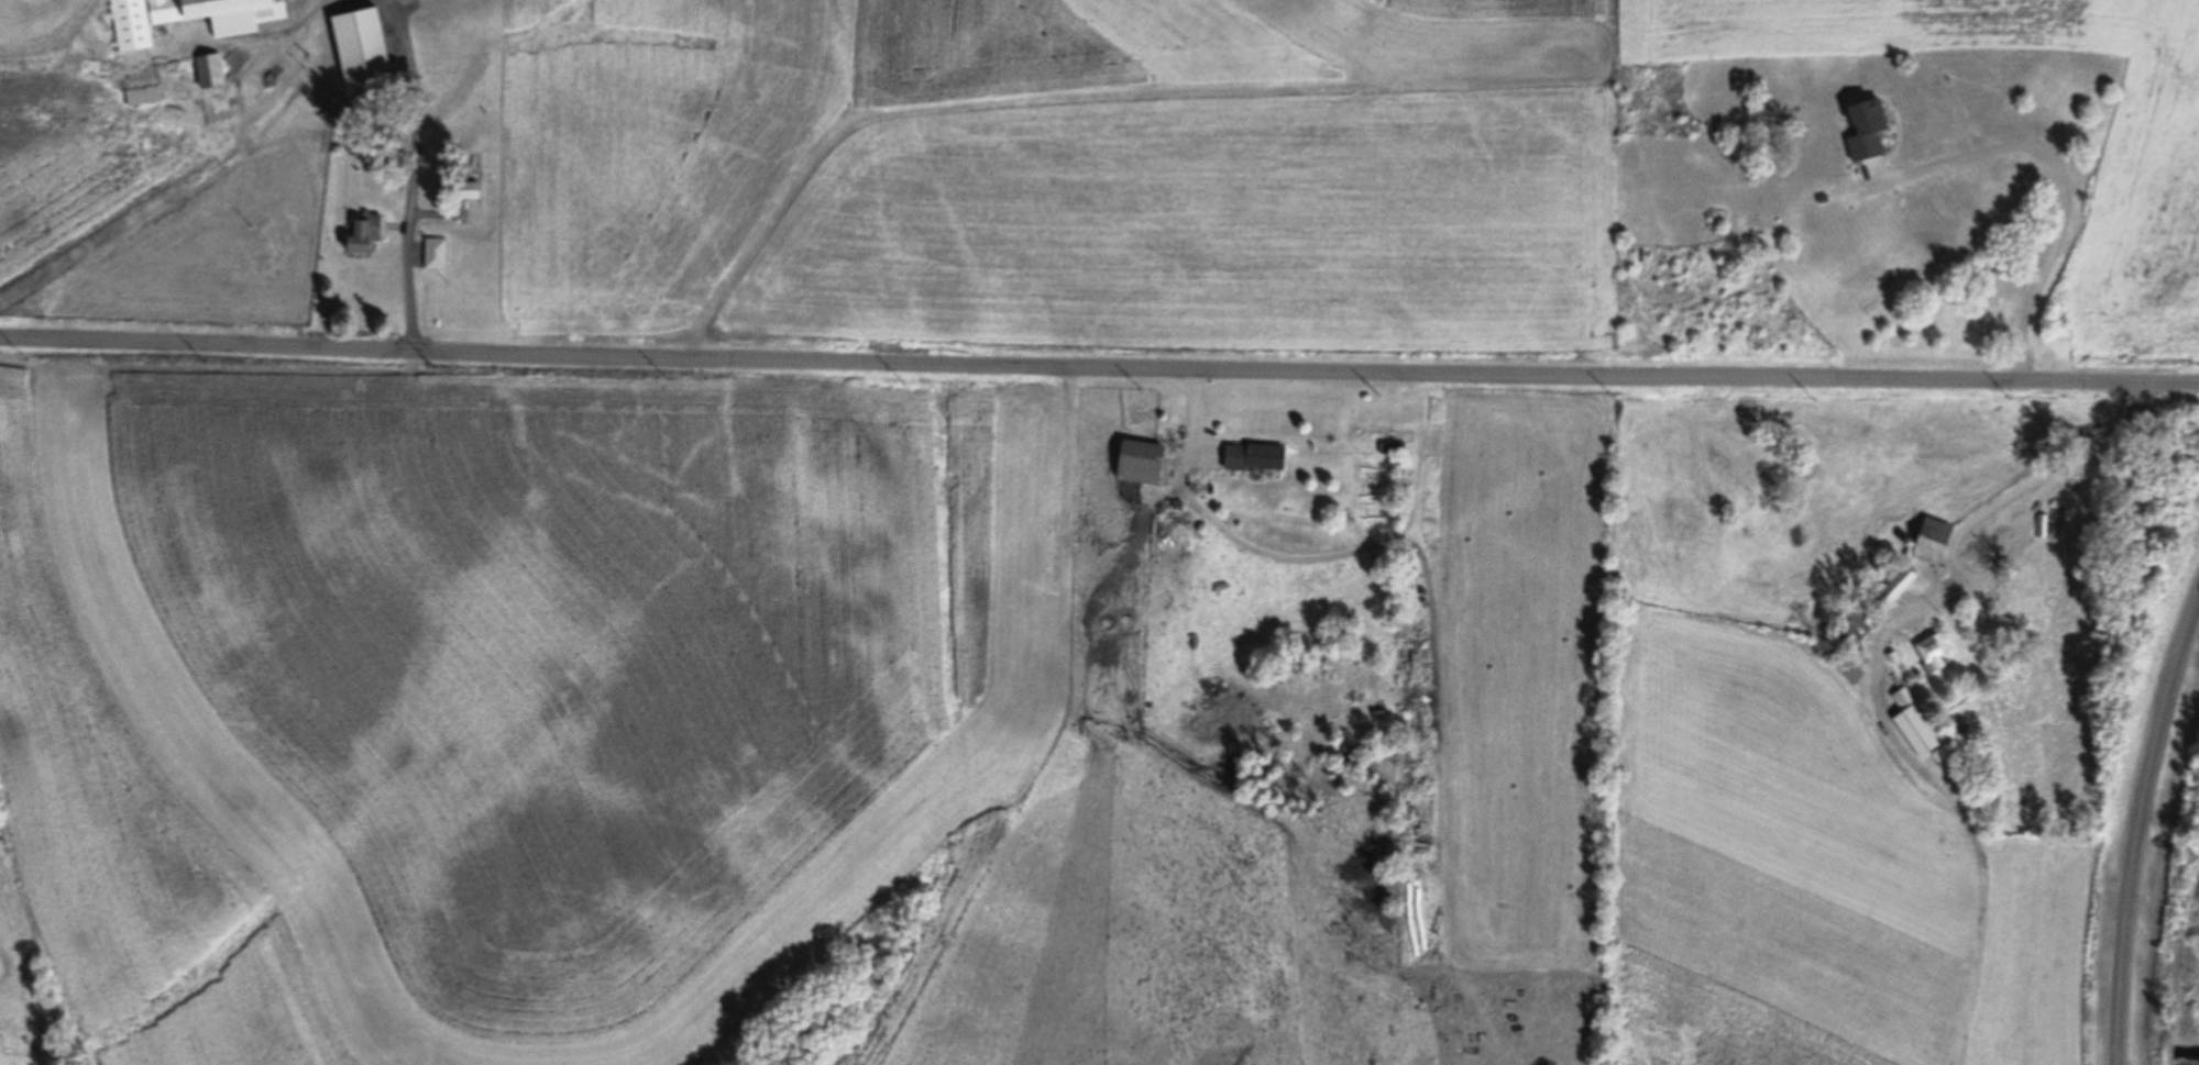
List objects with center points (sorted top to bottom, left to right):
building: (191, 18)
building: (359, 48)
building: (207, 70)
building: (141, 96)
building: (1865, 129)
road: (2063, 176)
building: (363, 234)
building: (435, 254)
road: (1099, 366)
building: (1385, 439)
building: (1252, 456)
building: (1137, 462)
road: (1984, 513)
building: (2043, 525)
building: (1934, 542)
road: (2003, 561)
building: (1895, 587)
building: (1841, 639)
building: (1933, 654)
building: (1893, 657)
building: (1847, 669)
building: (1902, 697)
building: (1913, 731)
building: (1942, 755)
road: (2137, 825)
quarry: (2166, 873)

